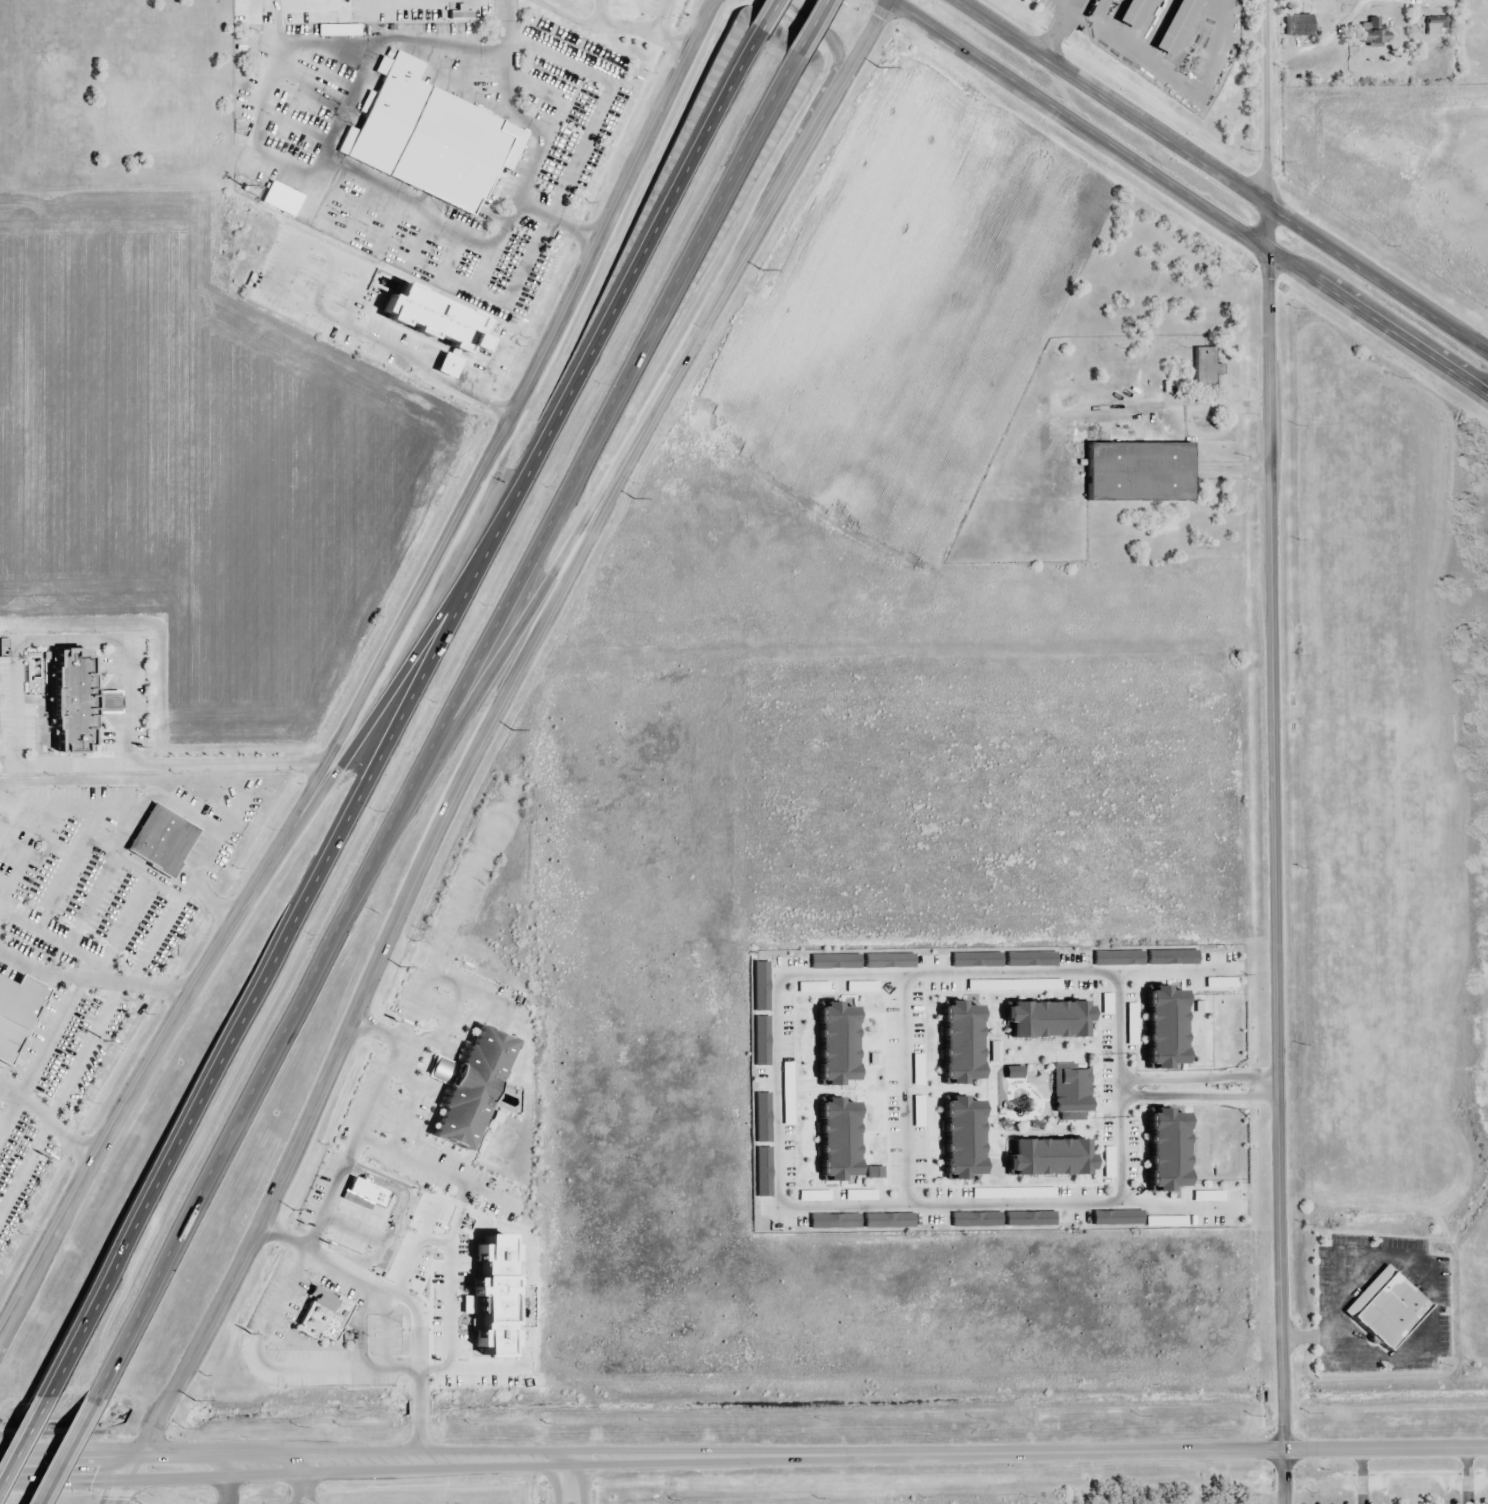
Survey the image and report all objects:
building: (1137, 13)
road: (758, 21)
building: (1179, 26)
building: (1299, 28)
road: (826, 29)
road: (661, 34)
road: (803, 34)
power tower: (877, 66)
road: (503, 78)
road: (1265, 102)
building: (434, 139)
road: (347, 173)
road: (1222, 174)
road: (1190, 198)
road: (559, 220)
power tower: (761, 268)
building: (438, 322)
building: (1208, 369)
building: (1144, 474)
power tower: (634, 499)
road: (423, 627)
road: (499, 672)
road: (377, 680)
building: (73, 701)
road: (399, 719)
power tower: (513, 730)
road: (441, 732)
road: (484, 744)
building: (162, 842)
road: (1277, 853)
road: (158, 934)
building: (1002, 960)
building: (1144, 960)
building: (860, 961)
power tower: (401, 967)
road: (1170, 970)
road: (781, 976)
building: (18, 1014)
building: (760, 1015)
building: (1050, 1019)
building: (1167, 1026)
building: (966, 1040)
building: (844, 1044)
road: (70, 1073)
road: (1191, 1075)
road: (1271, 1085)
road: (904, 1088)
building: (477, 1089)
building: (1070, 1092)
road: (1193, 1097)
building: (965, 1139)
building: (841, 1141)
road: (351, 1146)
building: (763, 1148)
building: (1171, 1154)
building: (1052, 1155)
road: (24, 1166)
building: (368, 1191)
road: (1117, 1201)
road: (1170, 1205)
power tower: (294, 1209)
building: (1003, 1219)
building: (860, 1221)
building: (1139, 1221)
building: (497, 1298)
building: (1385, 1308)
building: (329, 1317)
power tower: (195, 1399)
road: (21, 1435)
road: (63, 1449)
road: (812, 1455)
road: (67, 1463)
road: (1362, 1477)
road: (1466, 1477)
road: (582, 1480)
road: (565, 1481)

